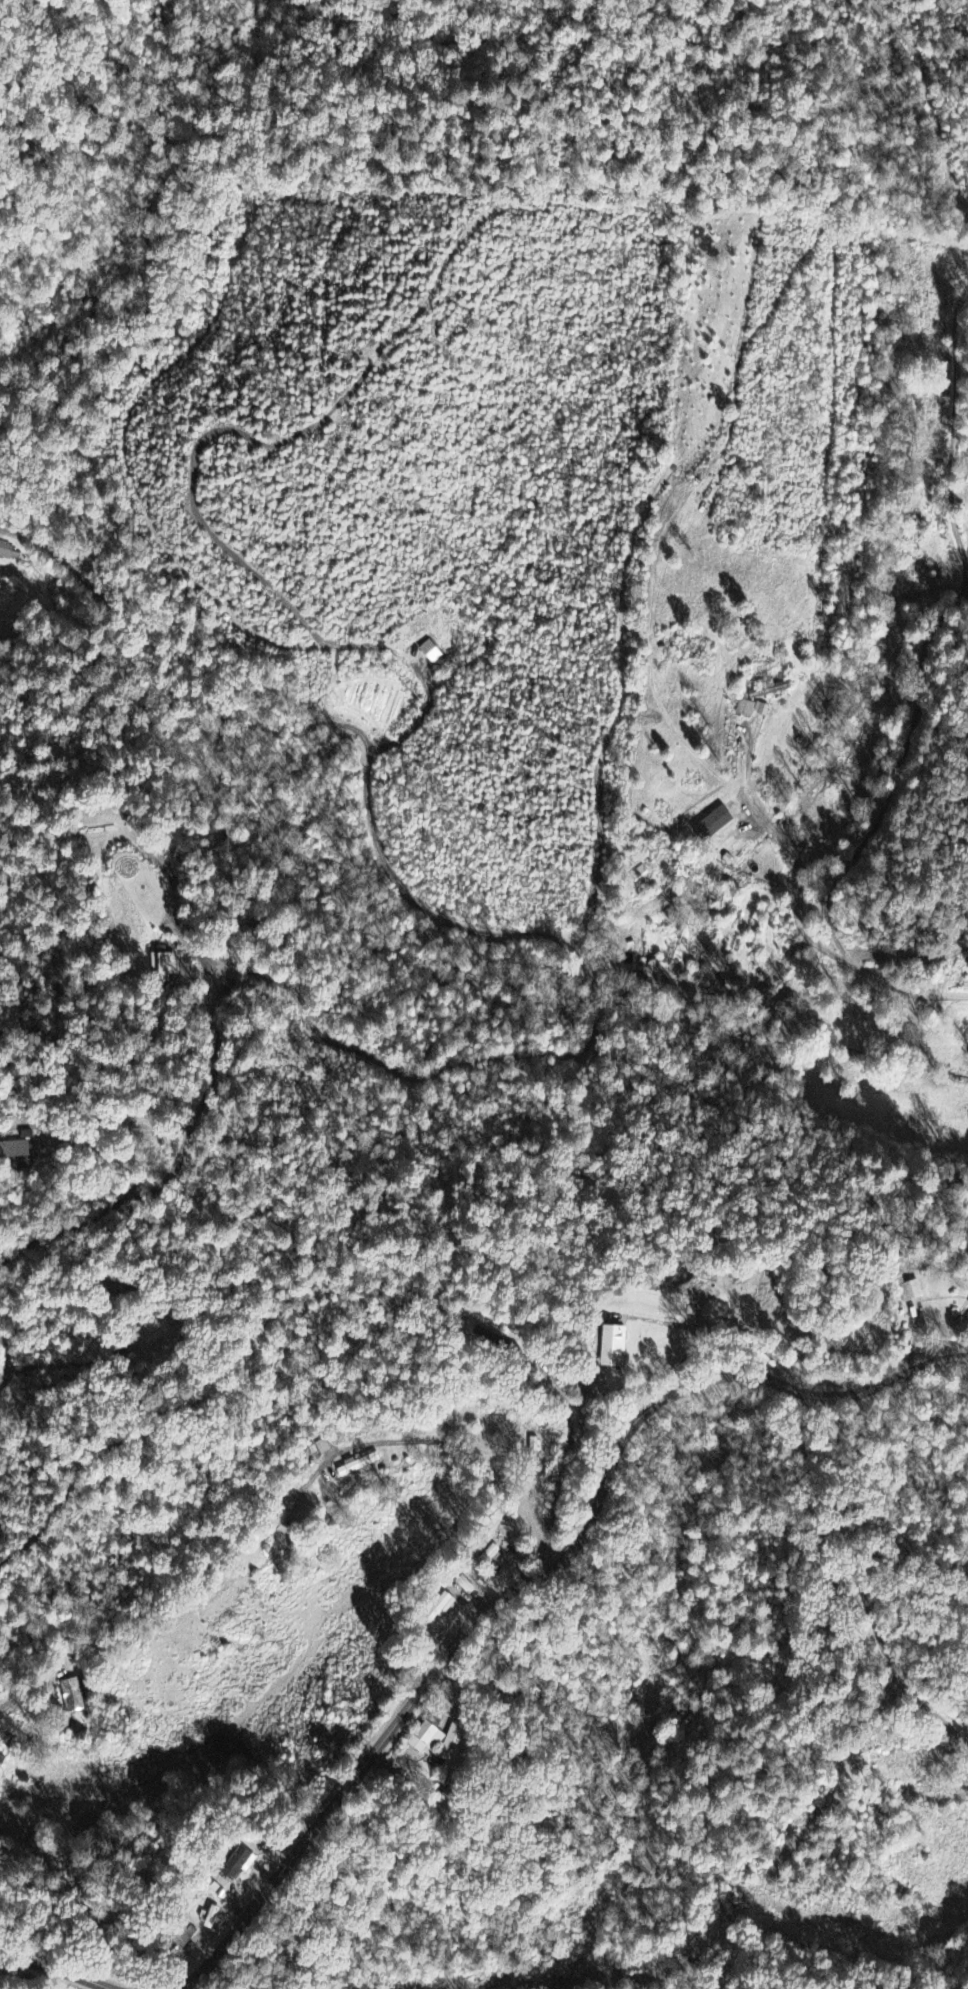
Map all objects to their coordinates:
road: (932, 92)
building: (8, 552)
road: (918, 703)
building: (753, 709)
road: (790, 848)
building: (162, 964)
building: (17, 1152)
building: (910, 1291)
building: (618, 1348)
road: (8, 1361)
building: (361, 1465)
road: (539, 1579)
building: (71, 1696)
building: (431, 1740)
building: (455, 1749)
building: (2, 1764)
building: (243, 1862)
building: (217, 1916)
road: (61, 1965)

